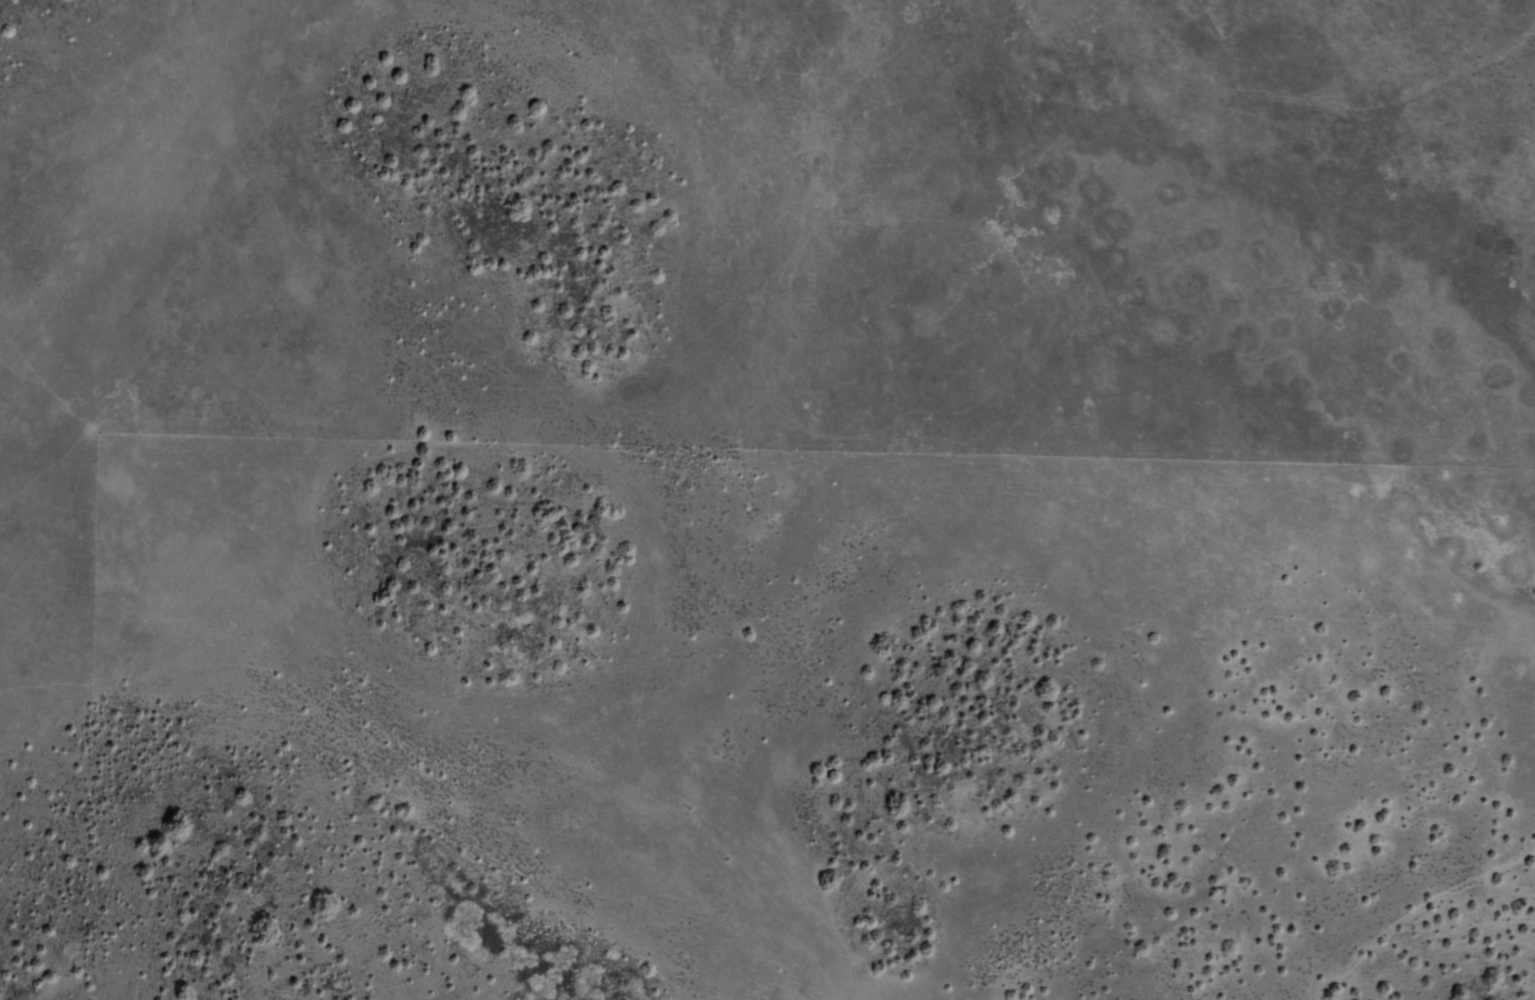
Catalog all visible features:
road: (1413, 906)

